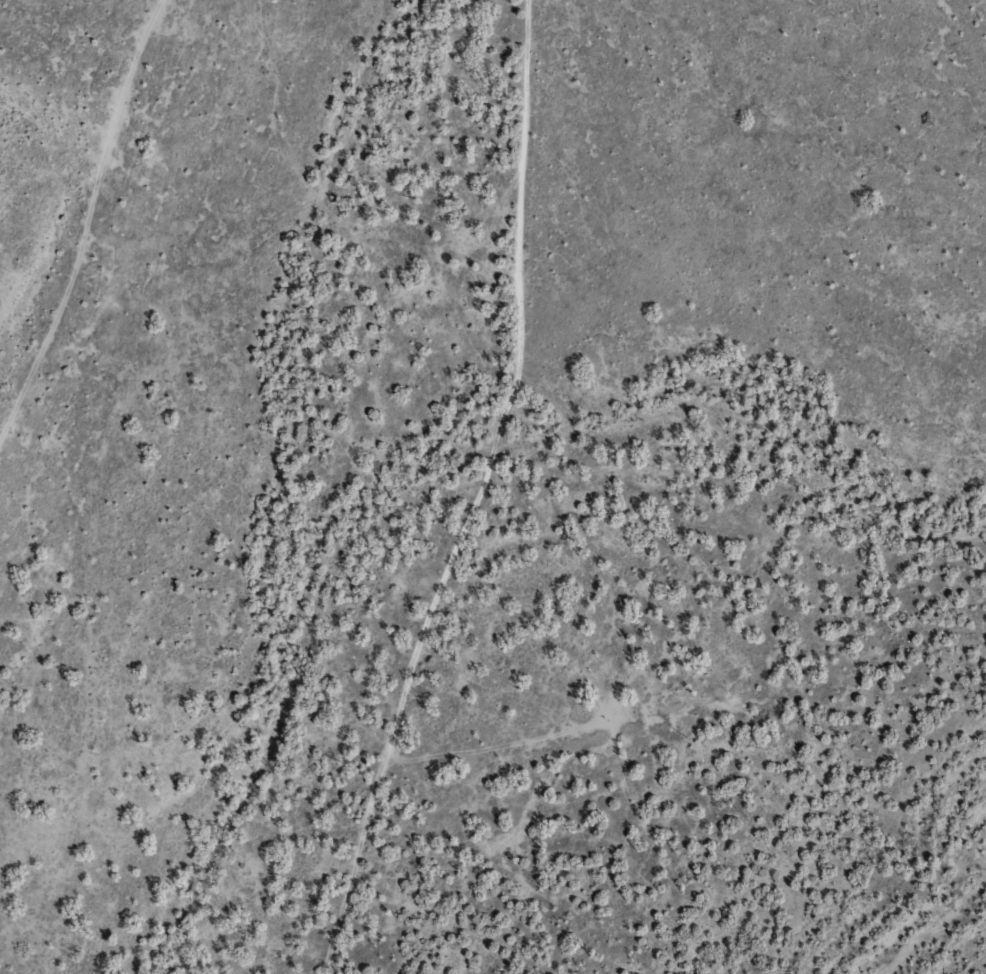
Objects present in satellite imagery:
road: (475, 494)

